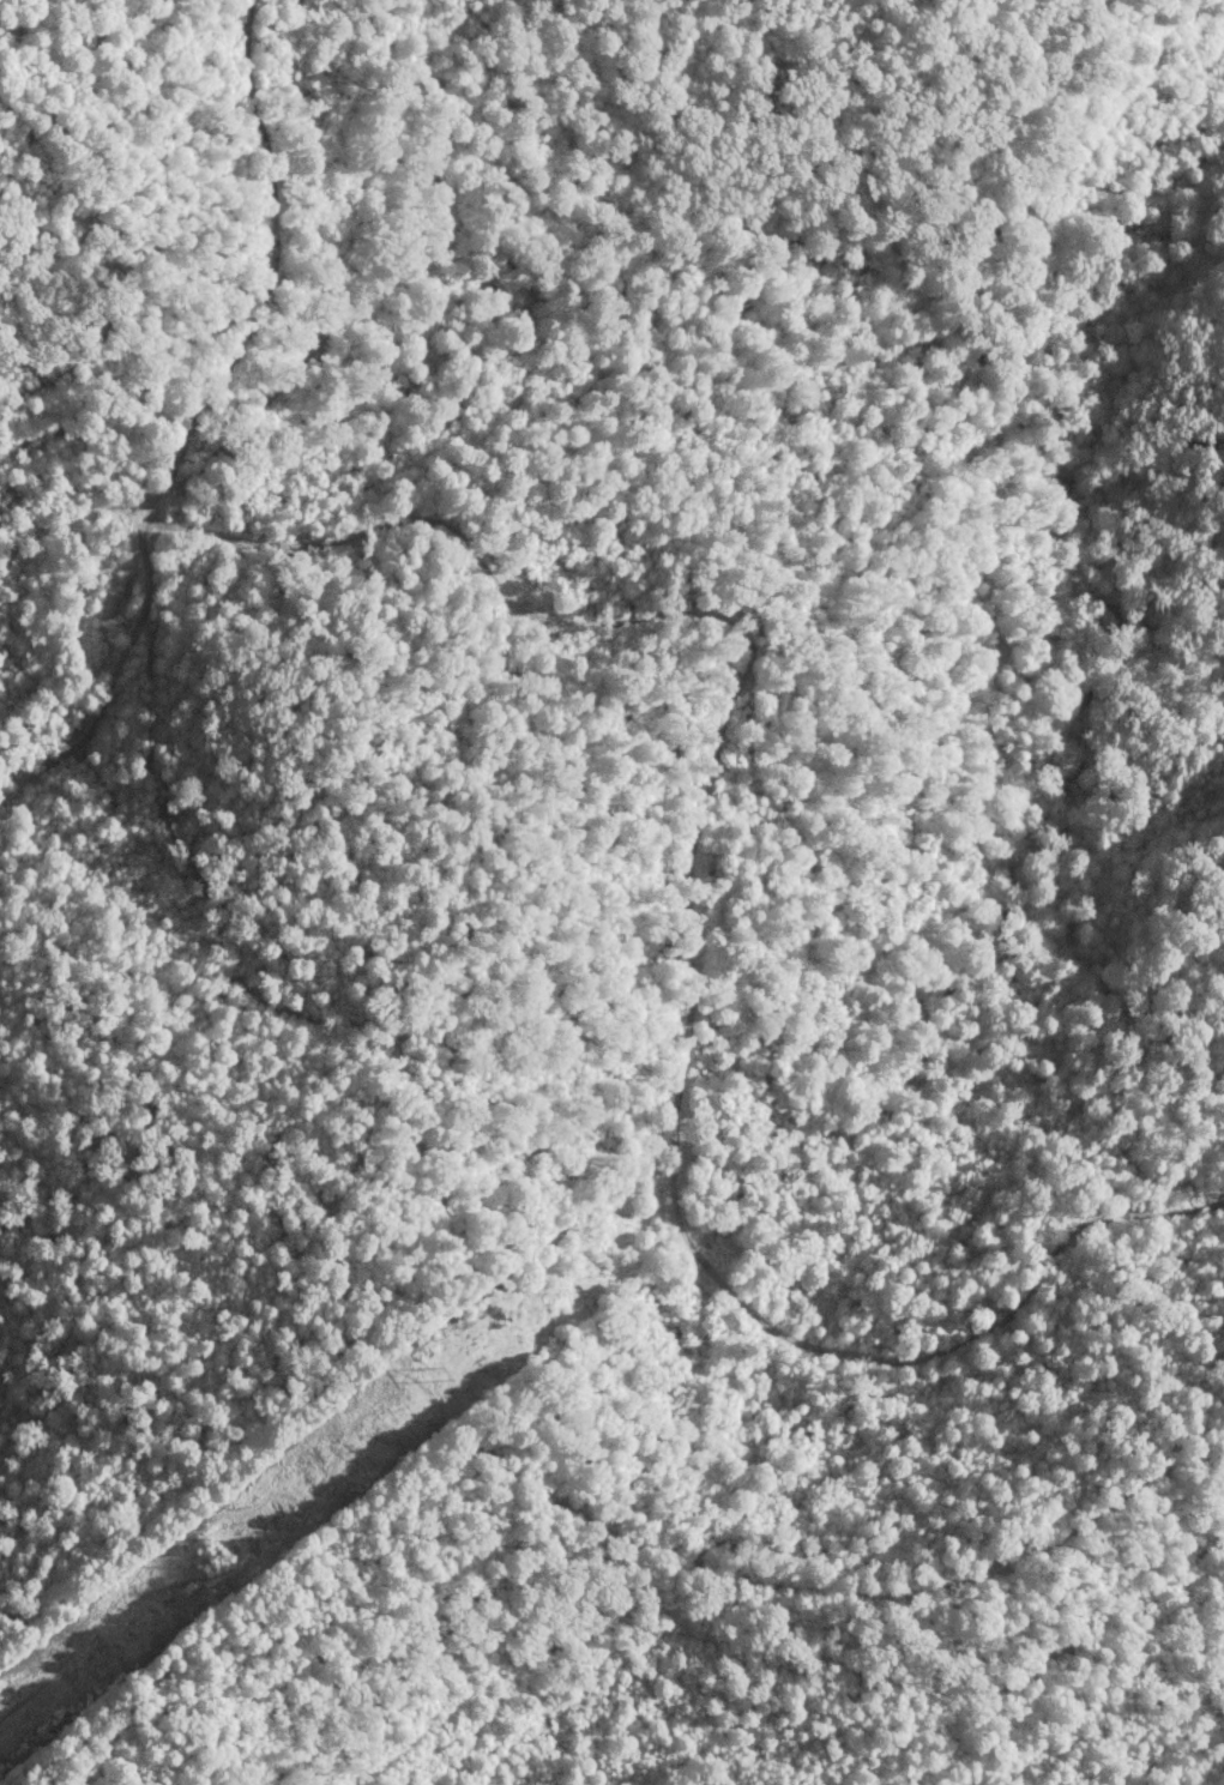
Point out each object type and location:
power tower: (434, 1371)
power tower: (195, 1557)

